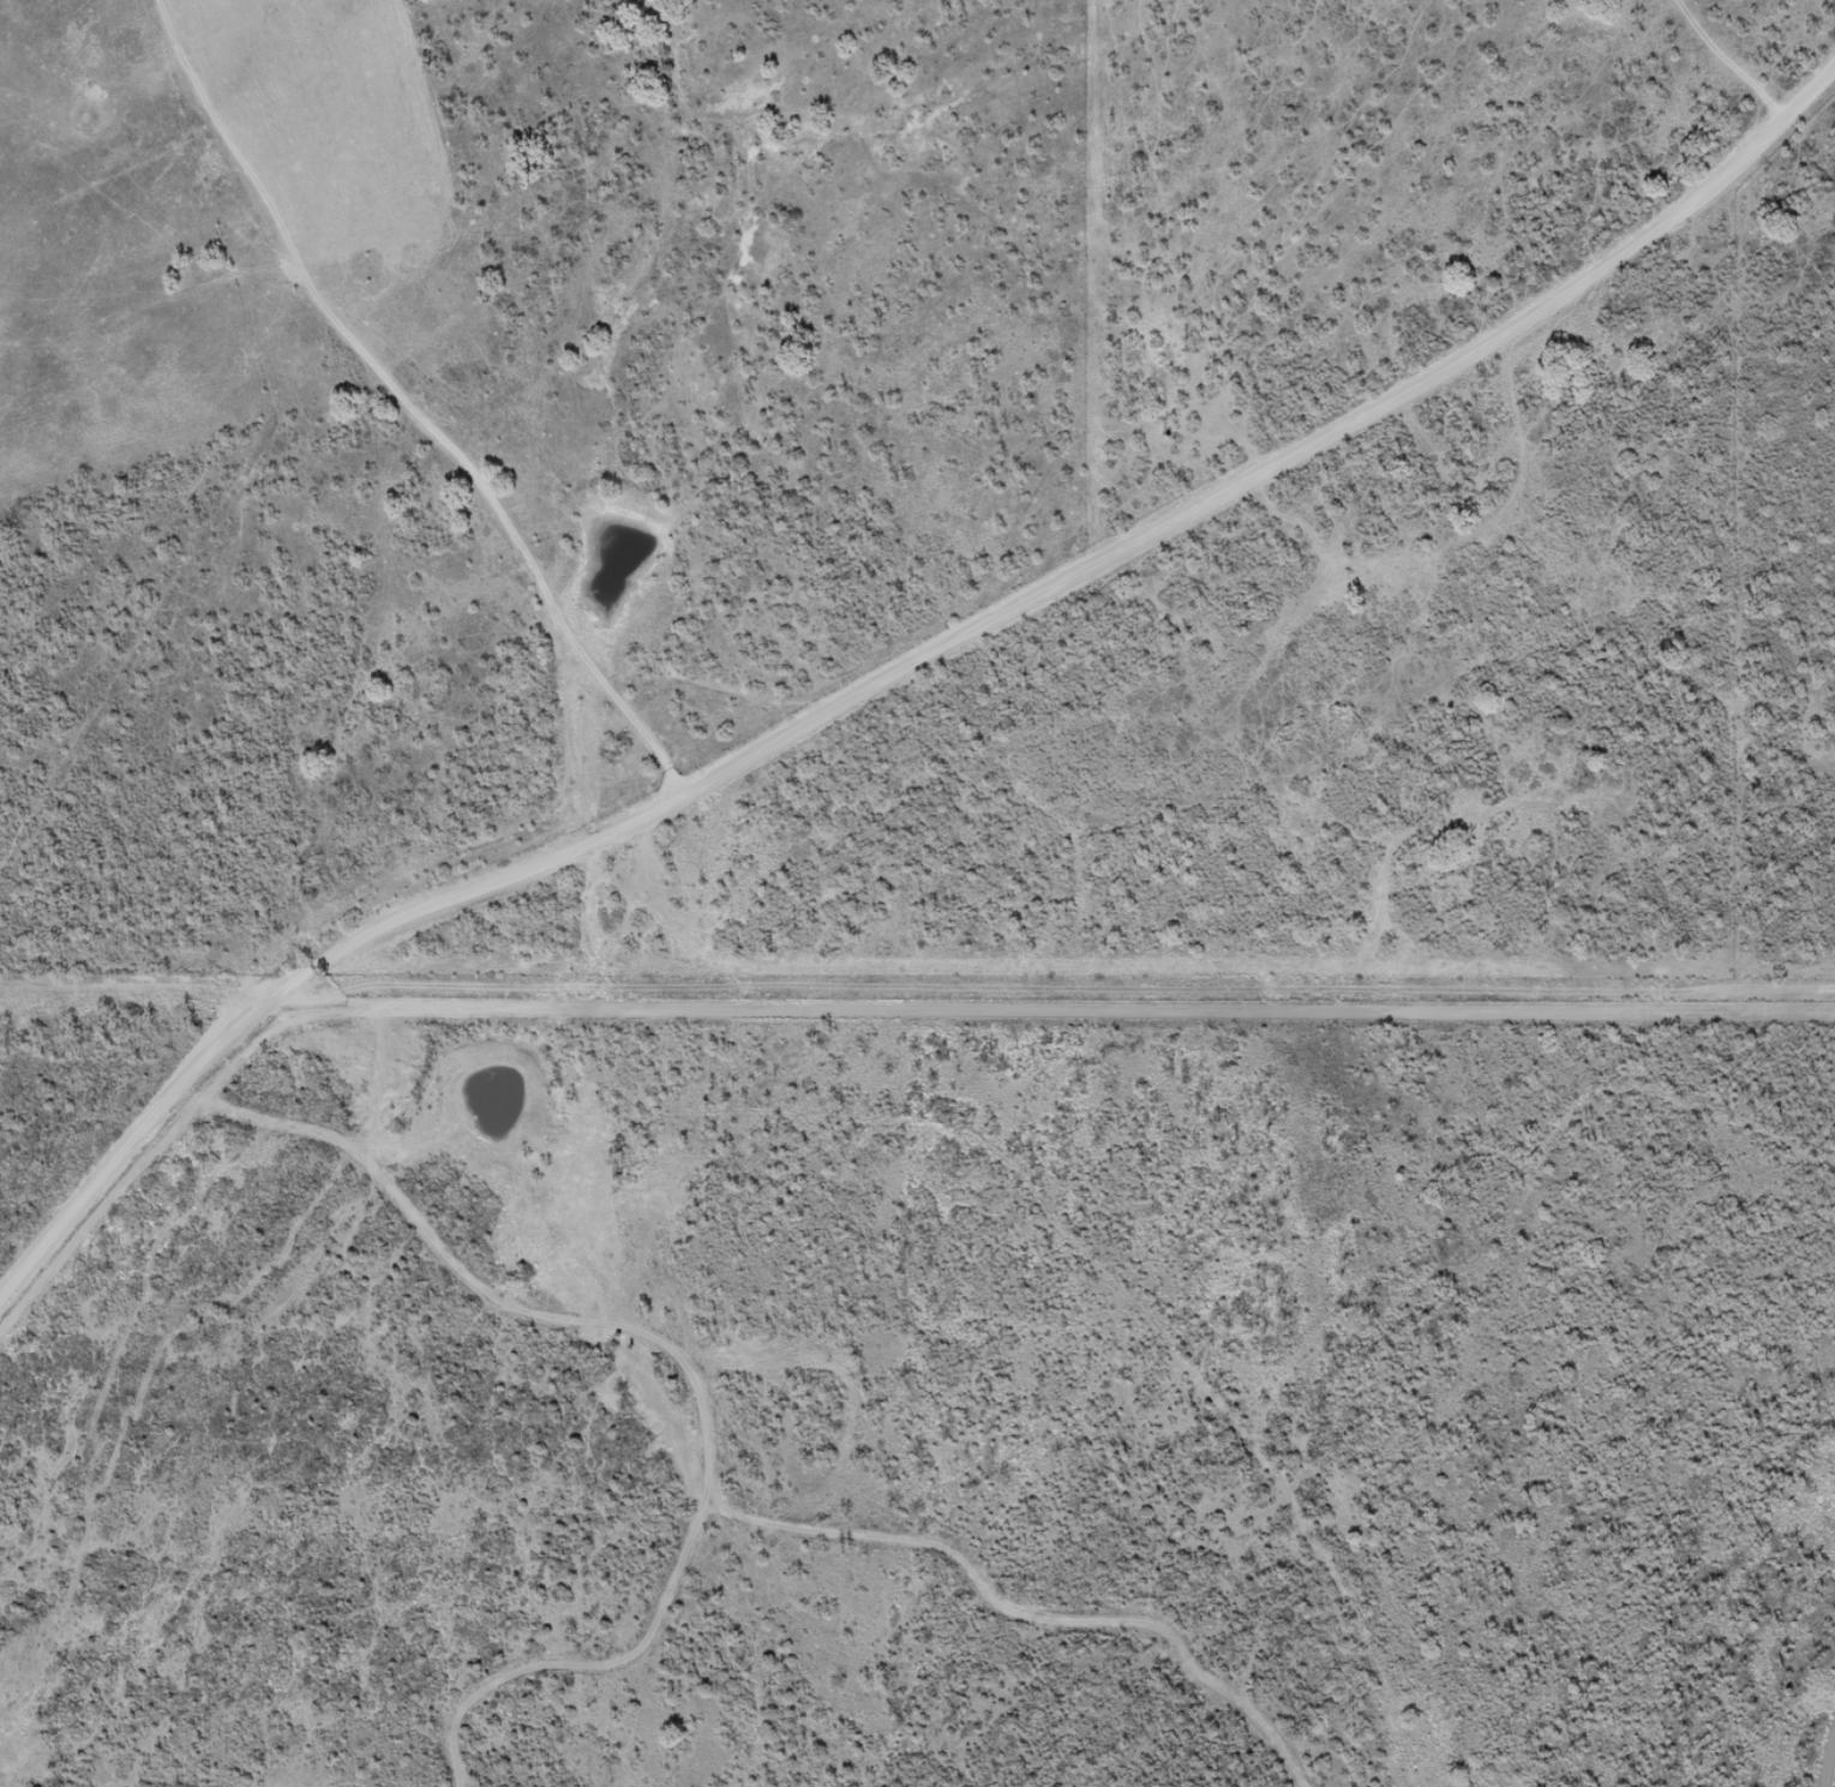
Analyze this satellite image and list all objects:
road: (1413, 397)
road: (390, 421)
road: (823, 718)
road: (294, 990)
road: (719, 1433)

